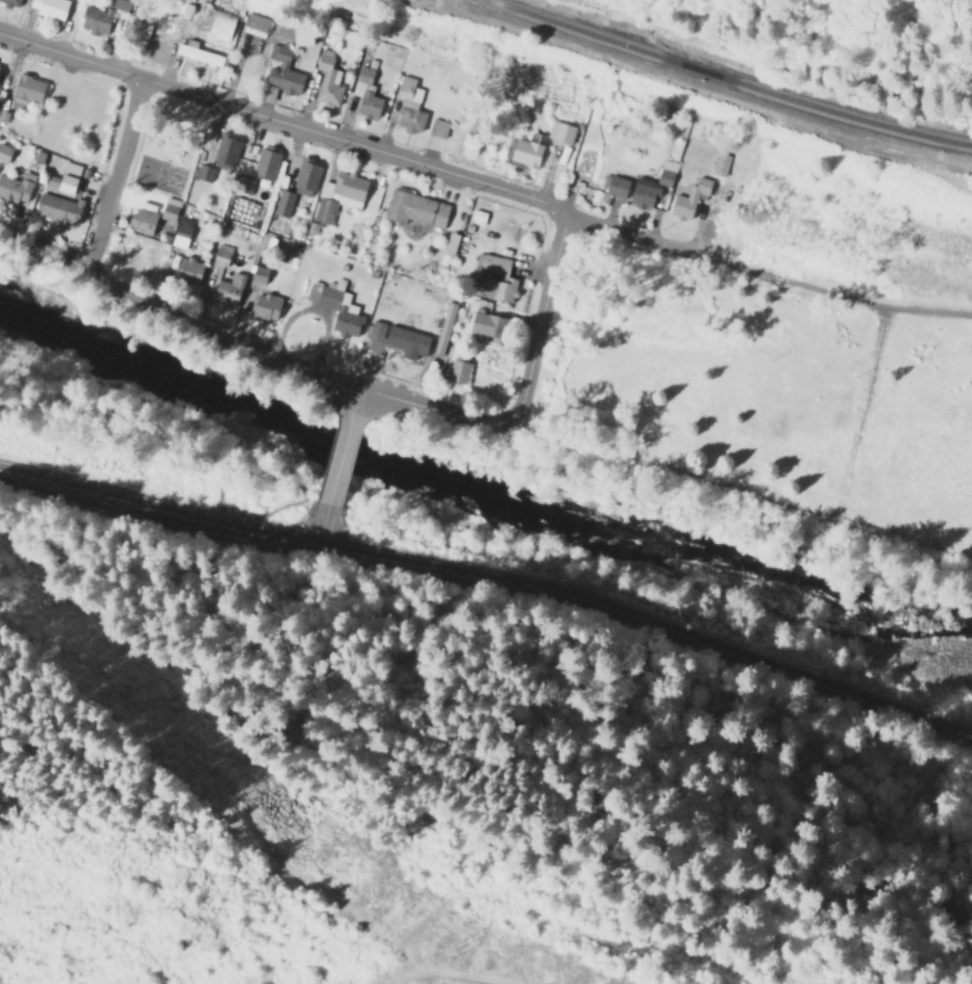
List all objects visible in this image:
building: (11, 2)
building: (50, 7)
building: (102, 16)
building: (223, 24)
building: (256, 24)
building: (302, 35)
building: (199, 53)
building: (283, 72)
building: (328, 79)
railway: (725, 80)
building: (28, 88)
building: (269, 92)
building: (366, 93)
building: (409, 104)
road: (280, 127)
building: (438, 127)
building: (561, 131)
building: (227, 148)
building: (529, 149)
building: (5, 152)
park: (168, 155)
building: (266, 163)
building: (720, 163)
building: (204, 171)
building: (667, 172)
building: (307, 173)
building: (69, 177)
road: (116, 179)
building: (243, 184)
building: (618, 185)
building: (17, 186)
building: (644, 192)
building: (339, 195)
building: (691, 198)
building: (283, 201)
building: (59, 207)
building: (170, 208)
building: (416, 208)
building: (478, 216)
building: (144, 221)
building: (182, 232)
building: (451, 243)
road: (663, 252)
building: (190, 267)
building: (497, 277)
building: (230, 289)
building: (268, 304)
building: (337, 305)
road: (868, 311)
road: (539, 324)
building: (489, 325)
building: (444, 327)
building: (399, 338)
road: (245, 358)
building: (458, 370)
road: (362, 408)
road: (847, 464)
road: (334, 467)
river: (479, 496)
road: (304, 528)
road: (492, 579)
road: (443, 975)

